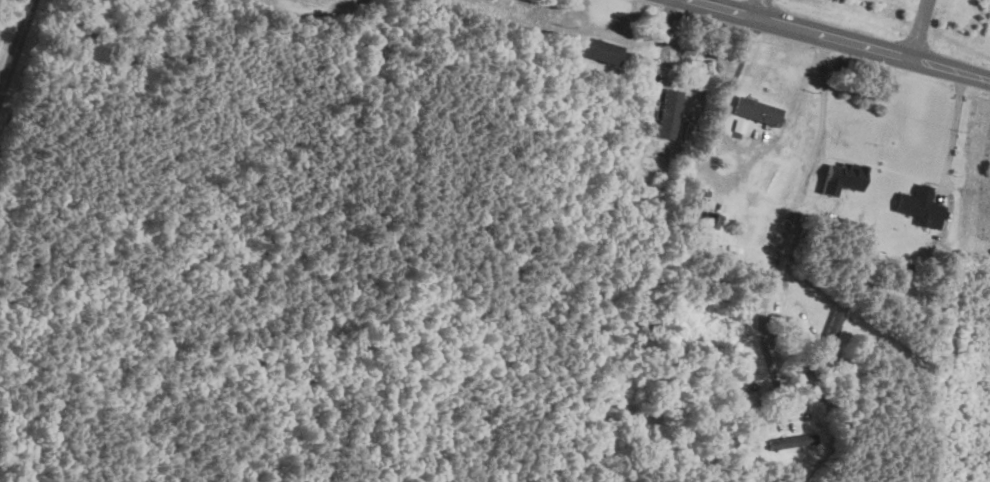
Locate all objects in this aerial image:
road: (761, 9)
road: (920, 29)
road: (842, 40)
road: (16, 47)
building: (600, 50)
building: (758, 110)
building: (669, 113)
road: (953, 131)
road: (814, 164)
building: (845, 177)
building: (711, 218)
building: (833, 327)
road: (765, 349)
building: (793, 440)

